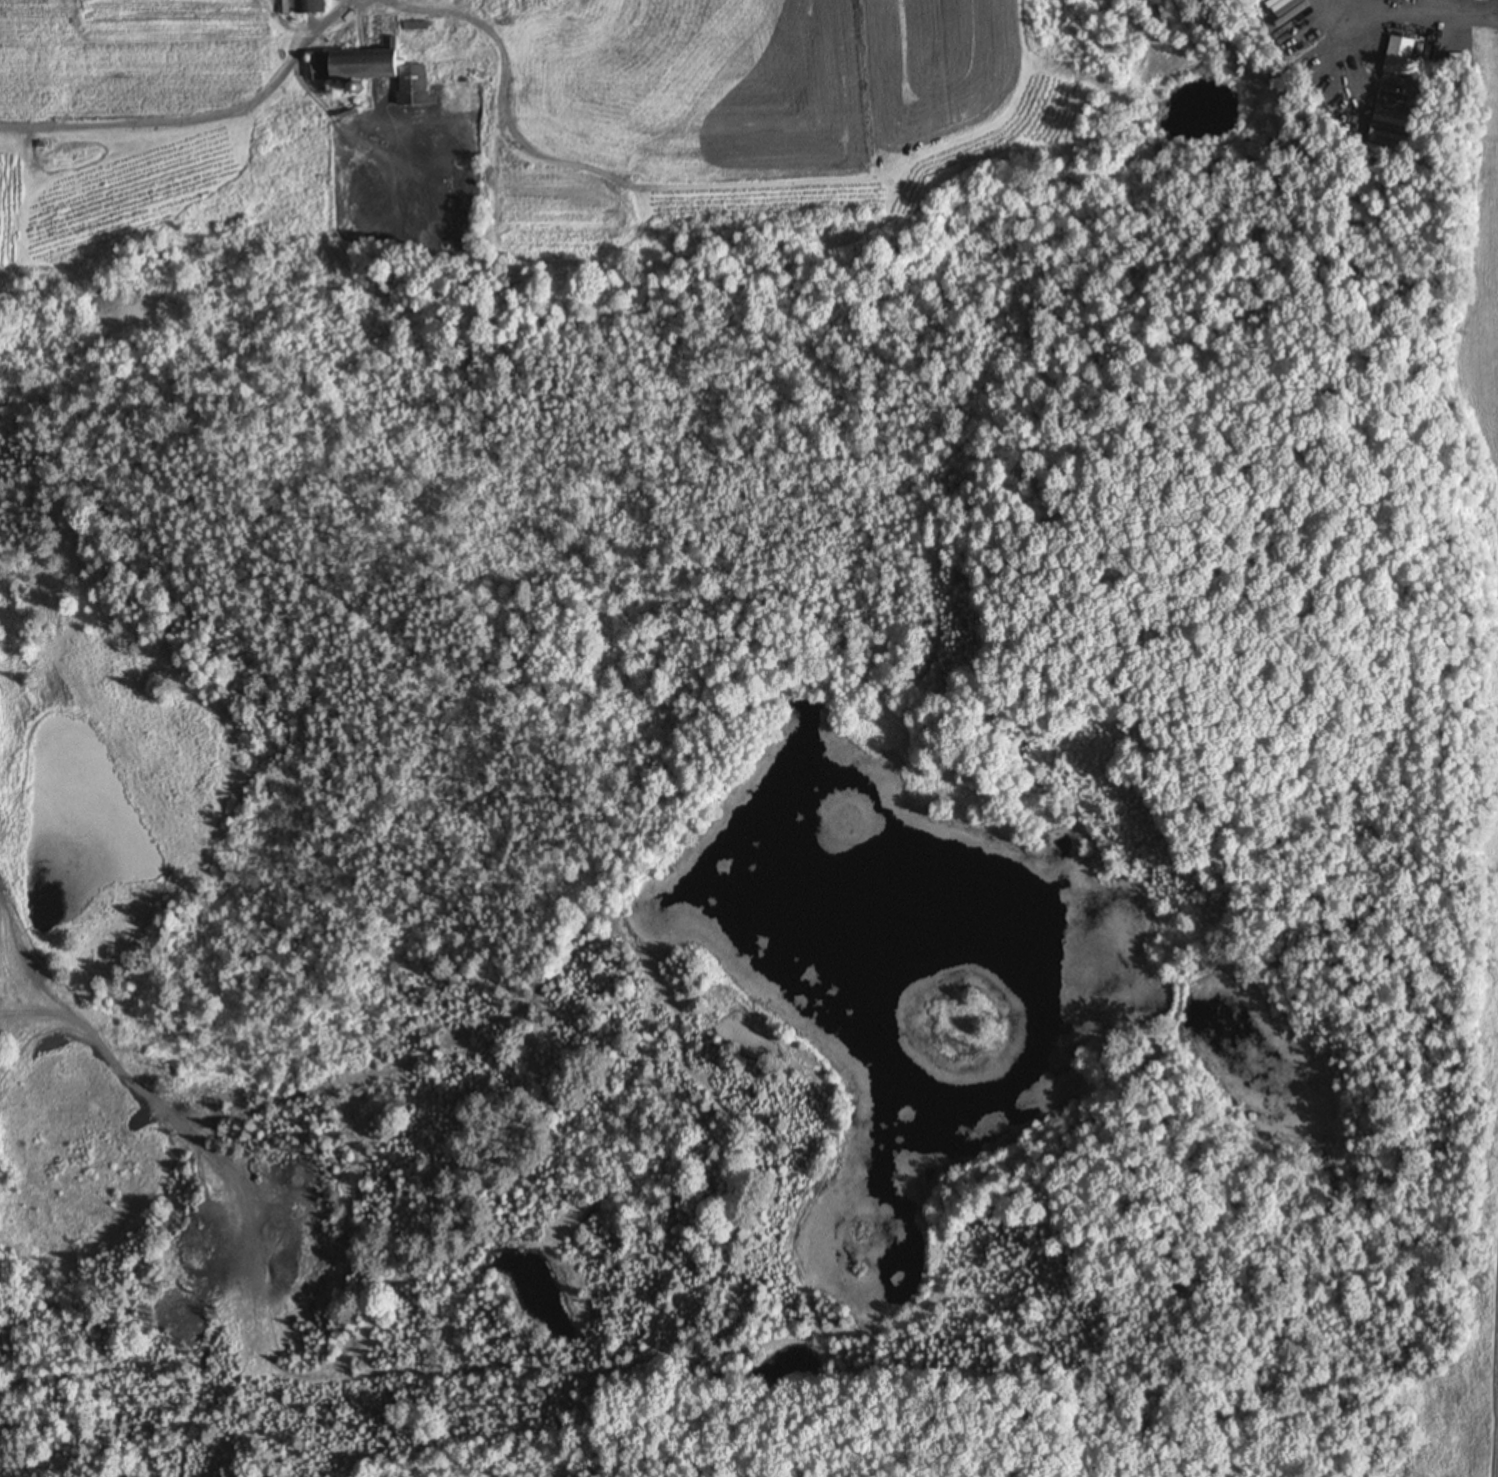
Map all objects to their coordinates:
building: (307, 6)
building: (1279, 11)
building: (1399, 56)
building: (379, 65)

